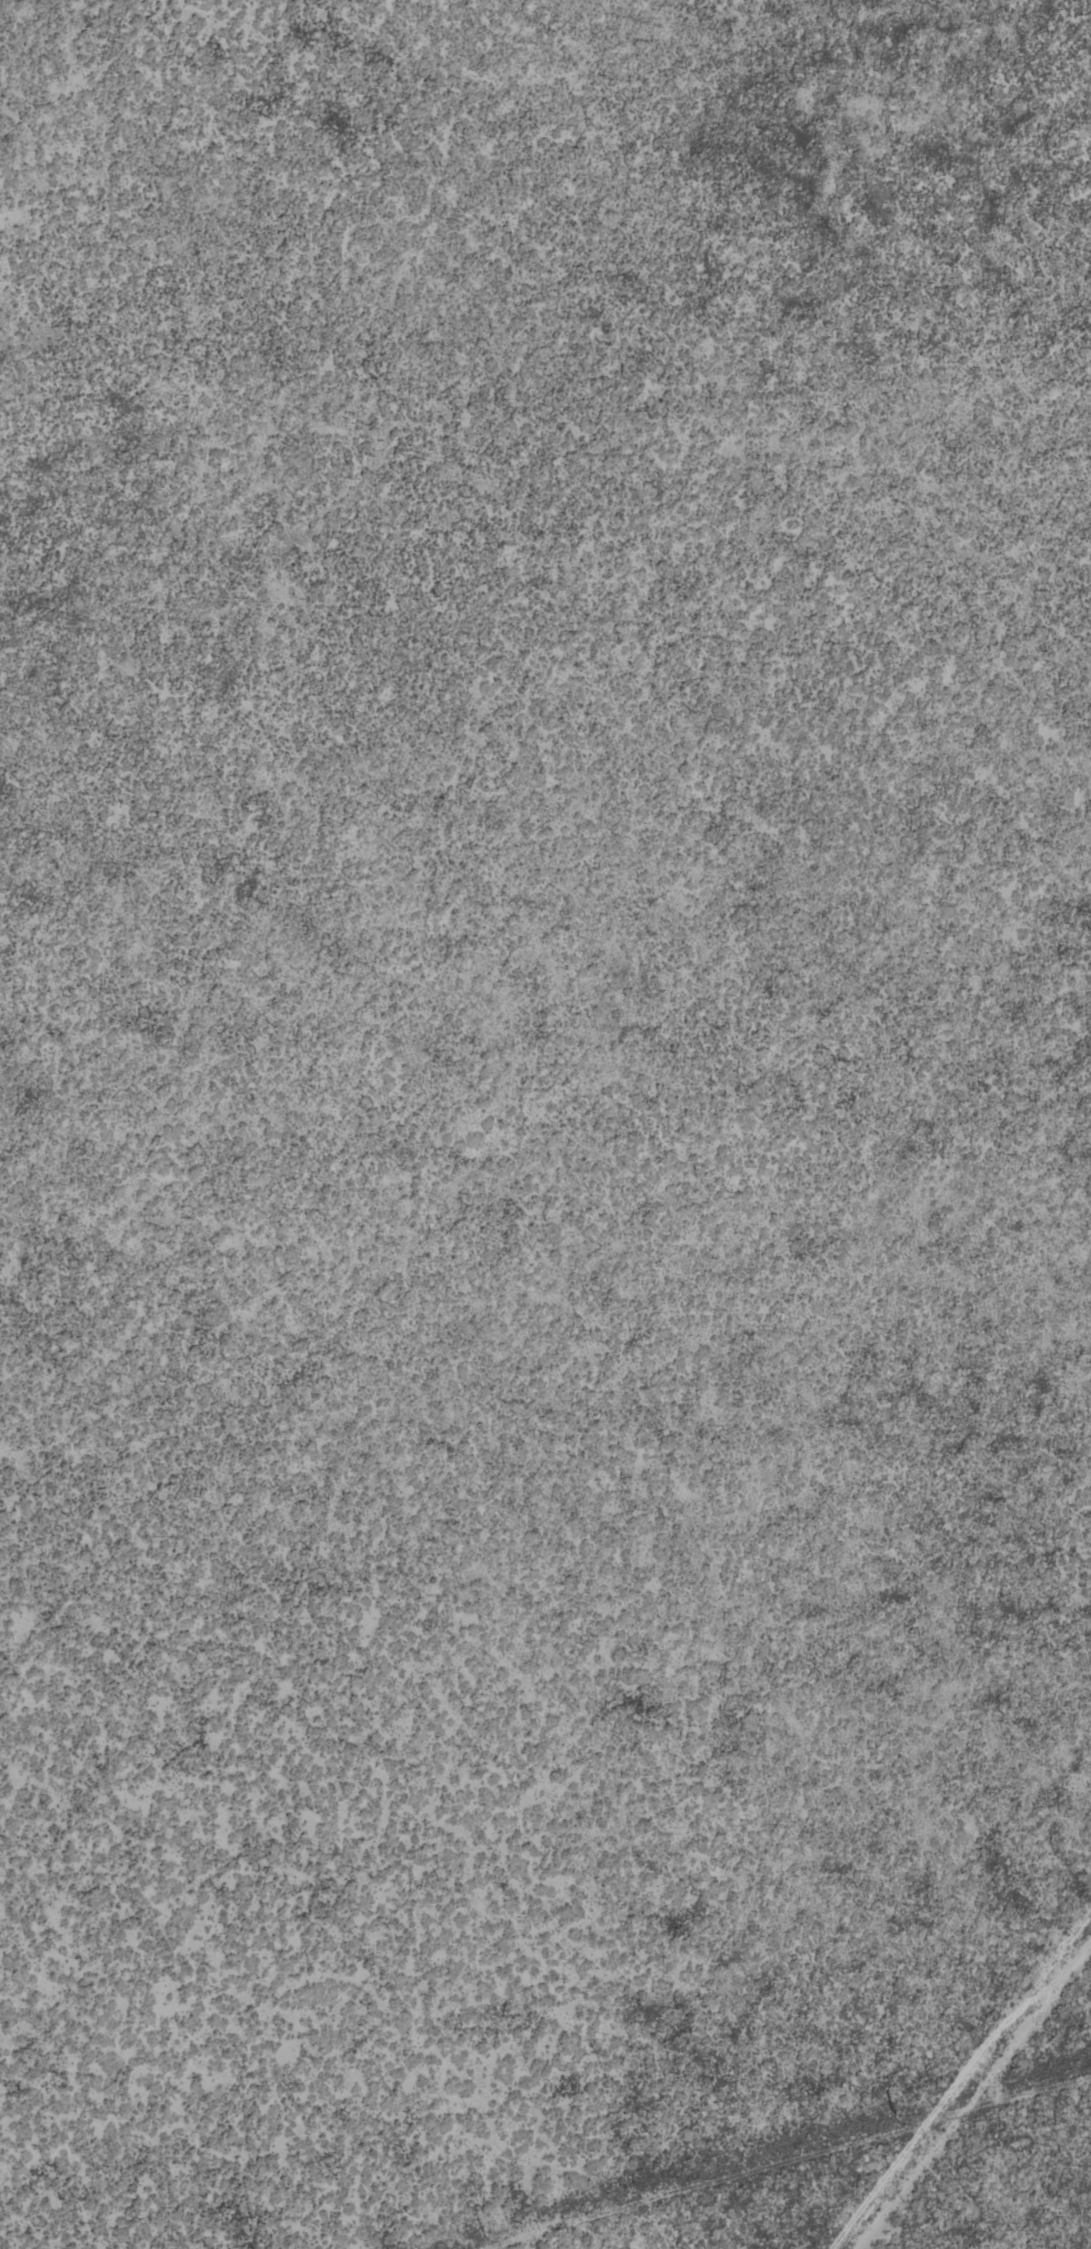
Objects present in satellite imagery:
power tower: (900, 2119)
power tower: (489, 2236)

